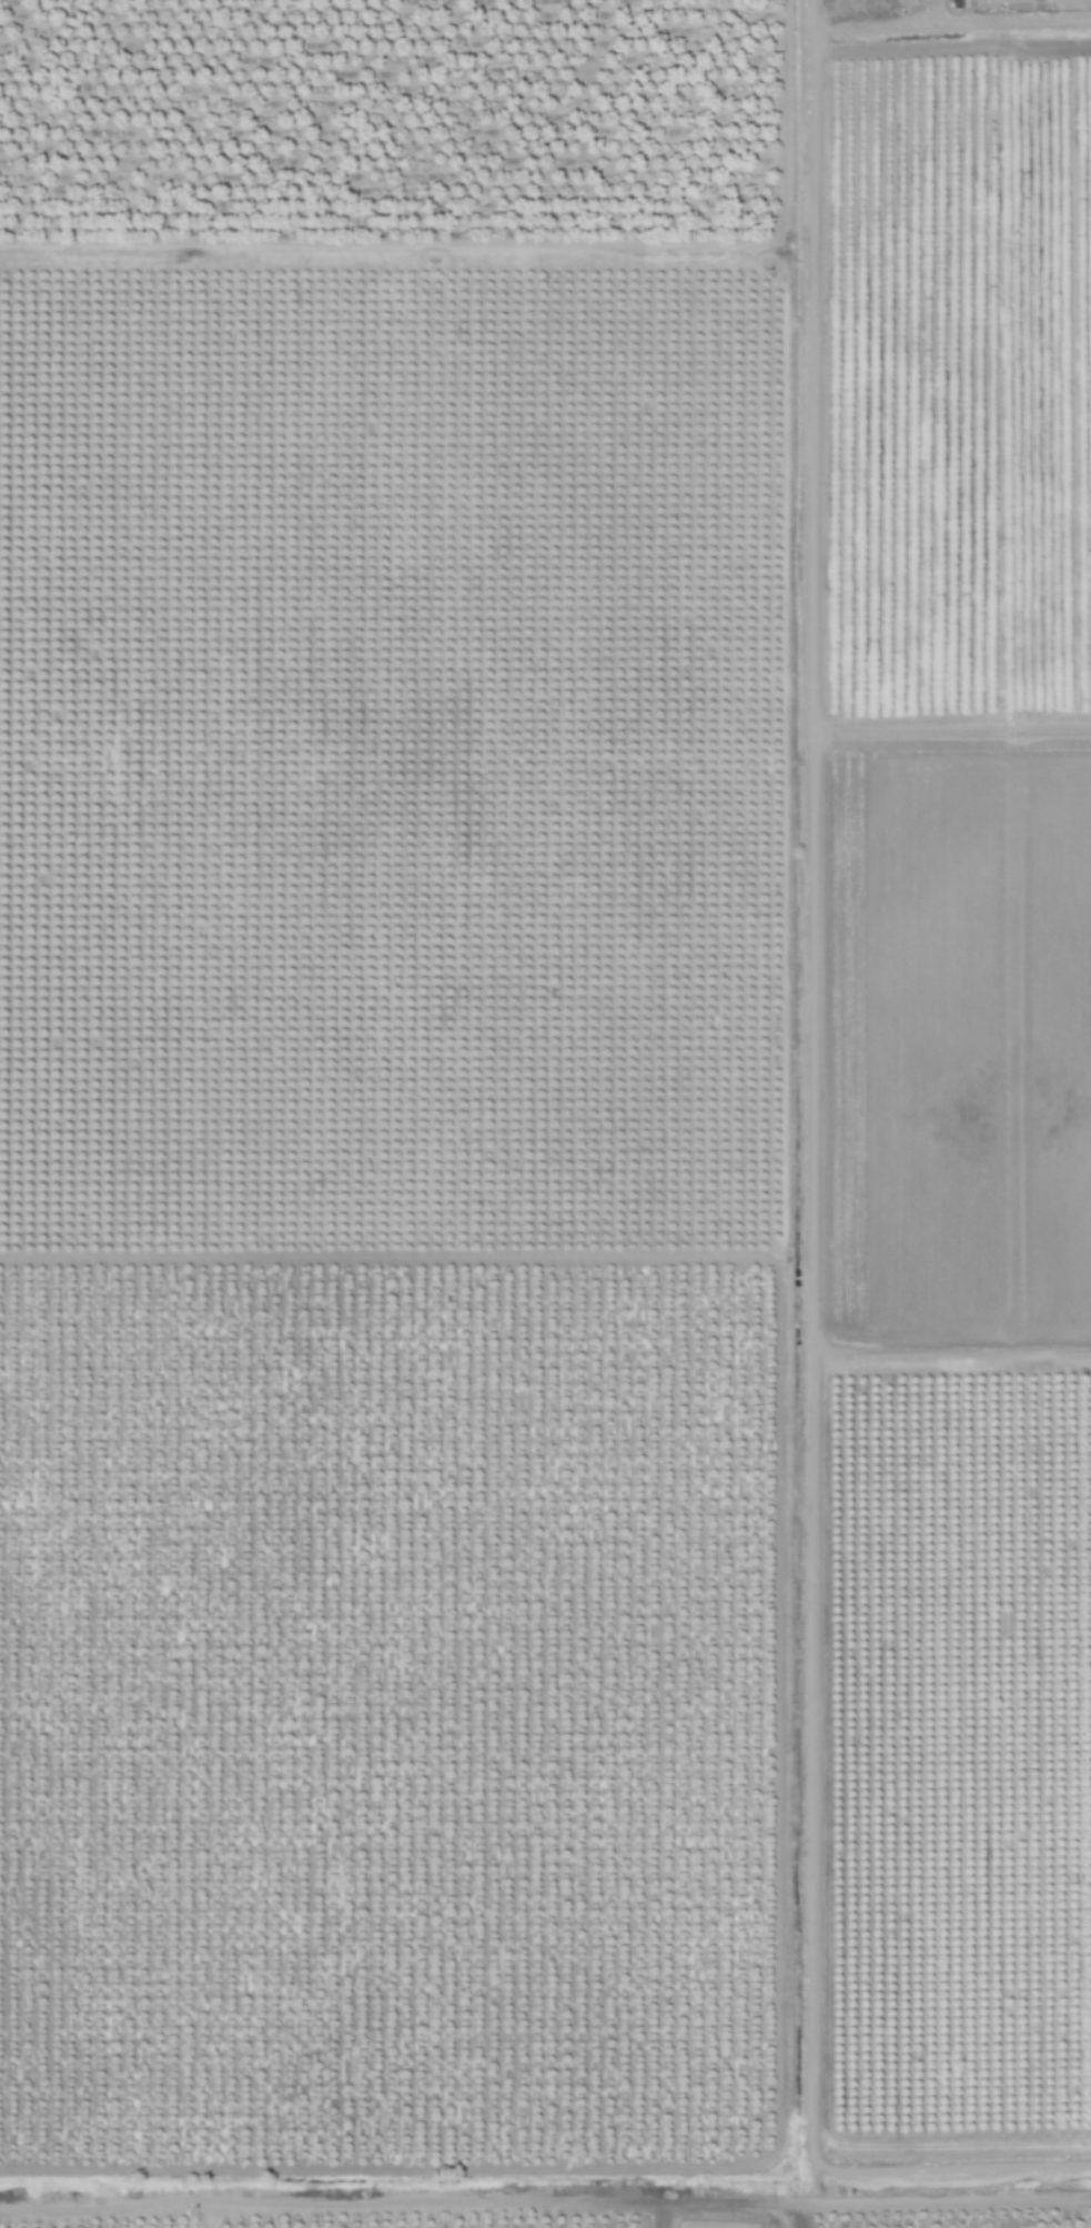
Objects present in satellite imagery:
road: (392, 251)
railway: (839, 1113)

